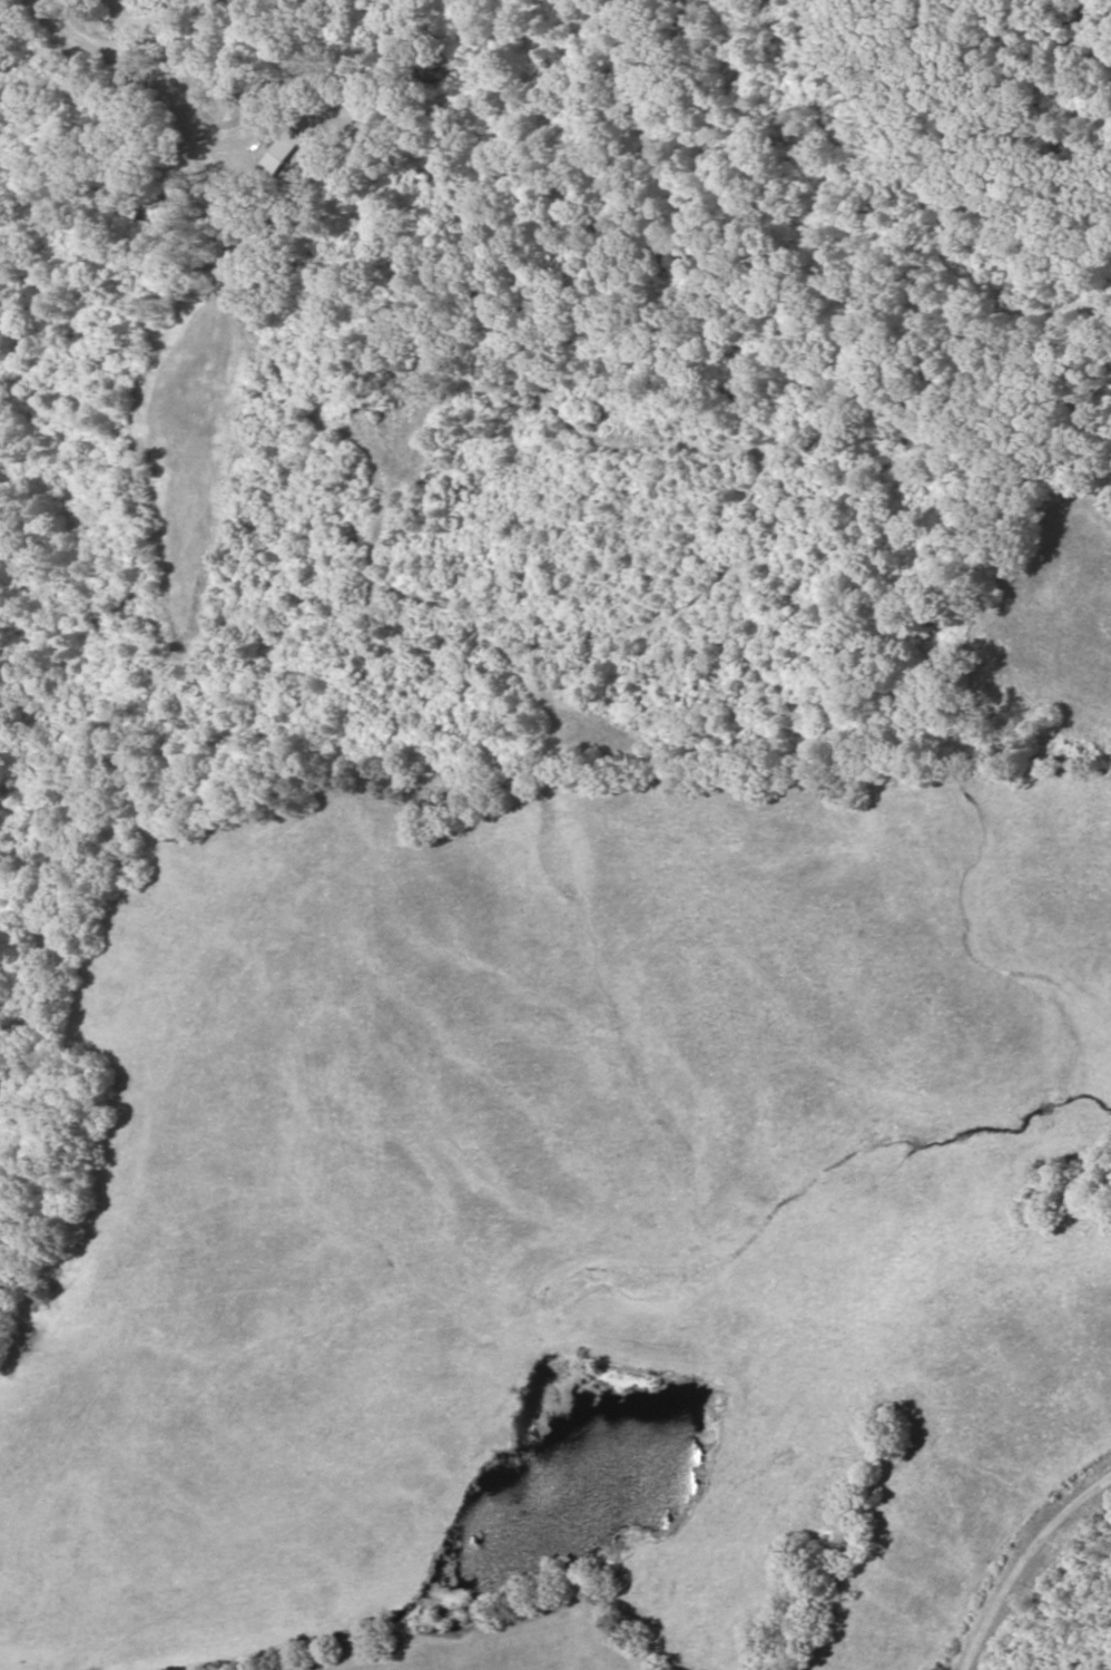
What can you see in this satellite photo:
building: (286, 148)
road: (1028, 1561)

